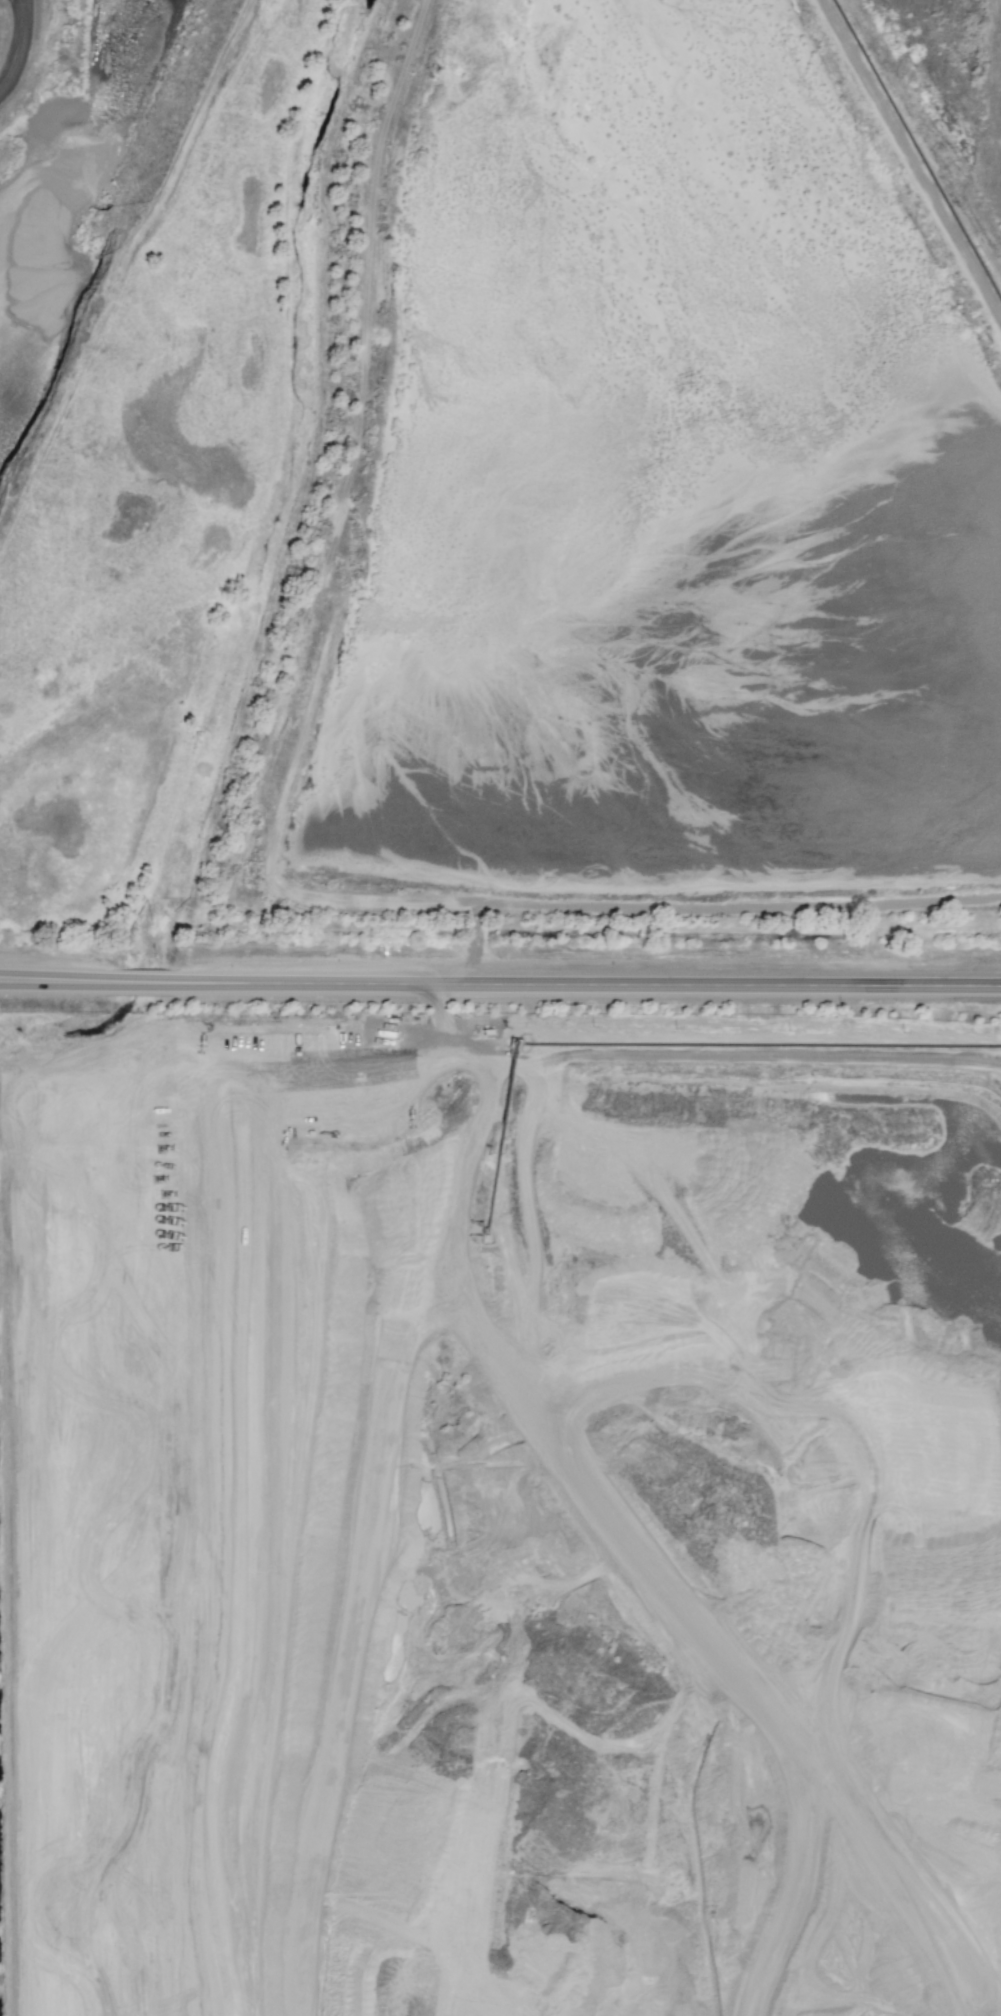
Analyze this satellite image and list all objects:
road: (20, 48)
road: (53, 981)
road: (141, 982)
road: (588, 983)

